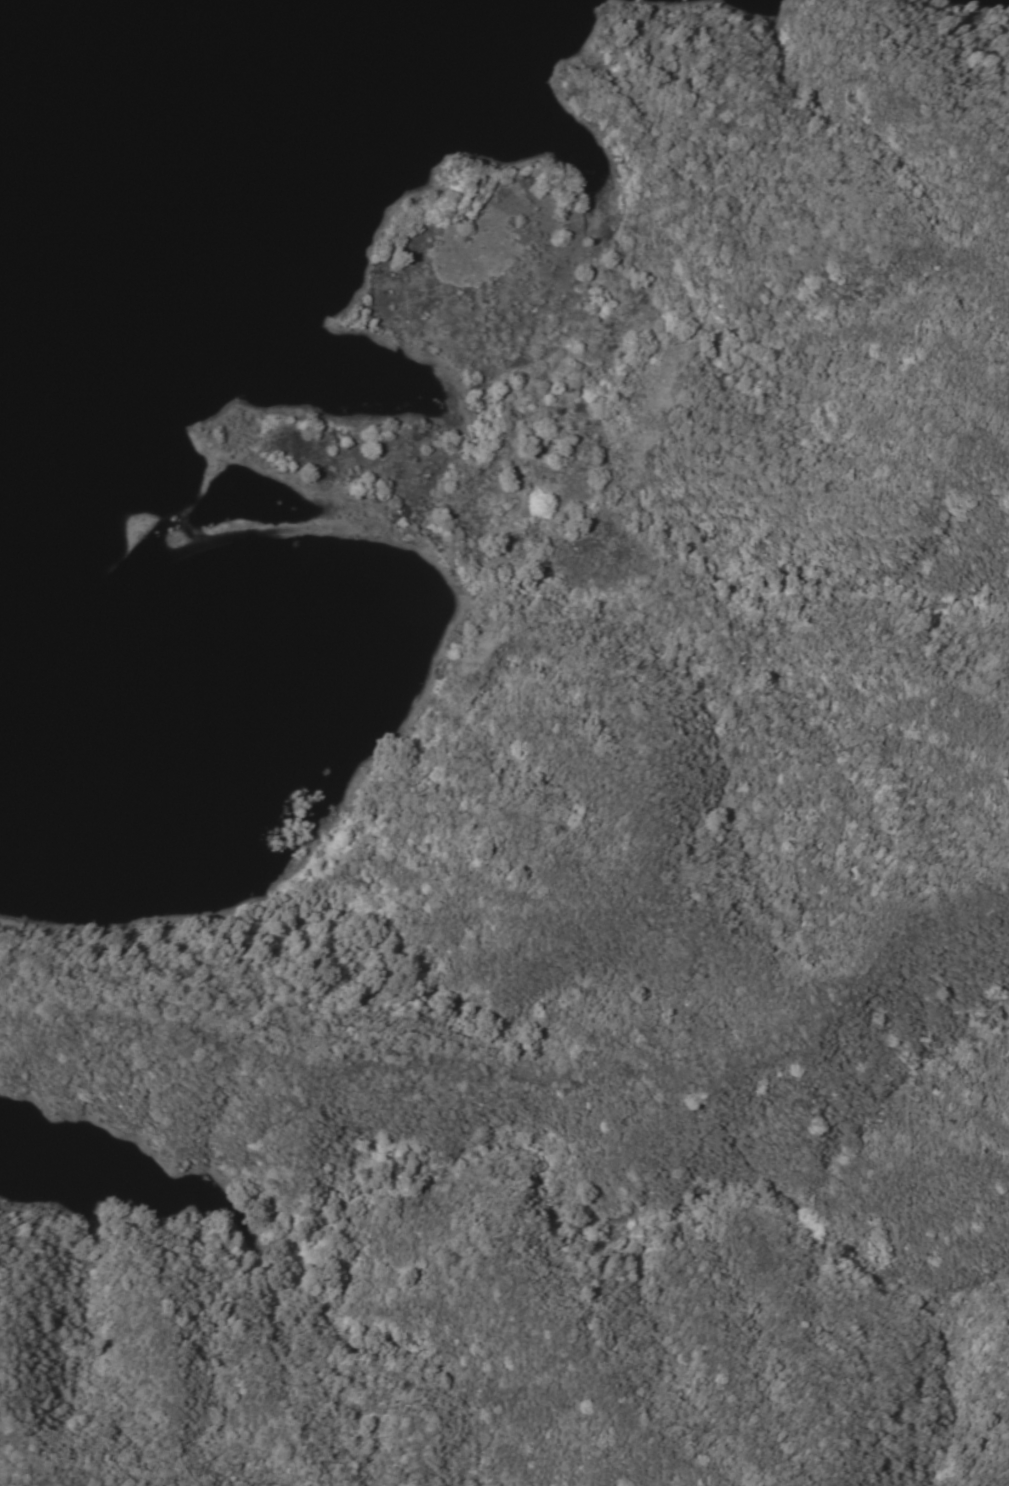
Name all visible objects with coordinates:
river: (155, 146)

